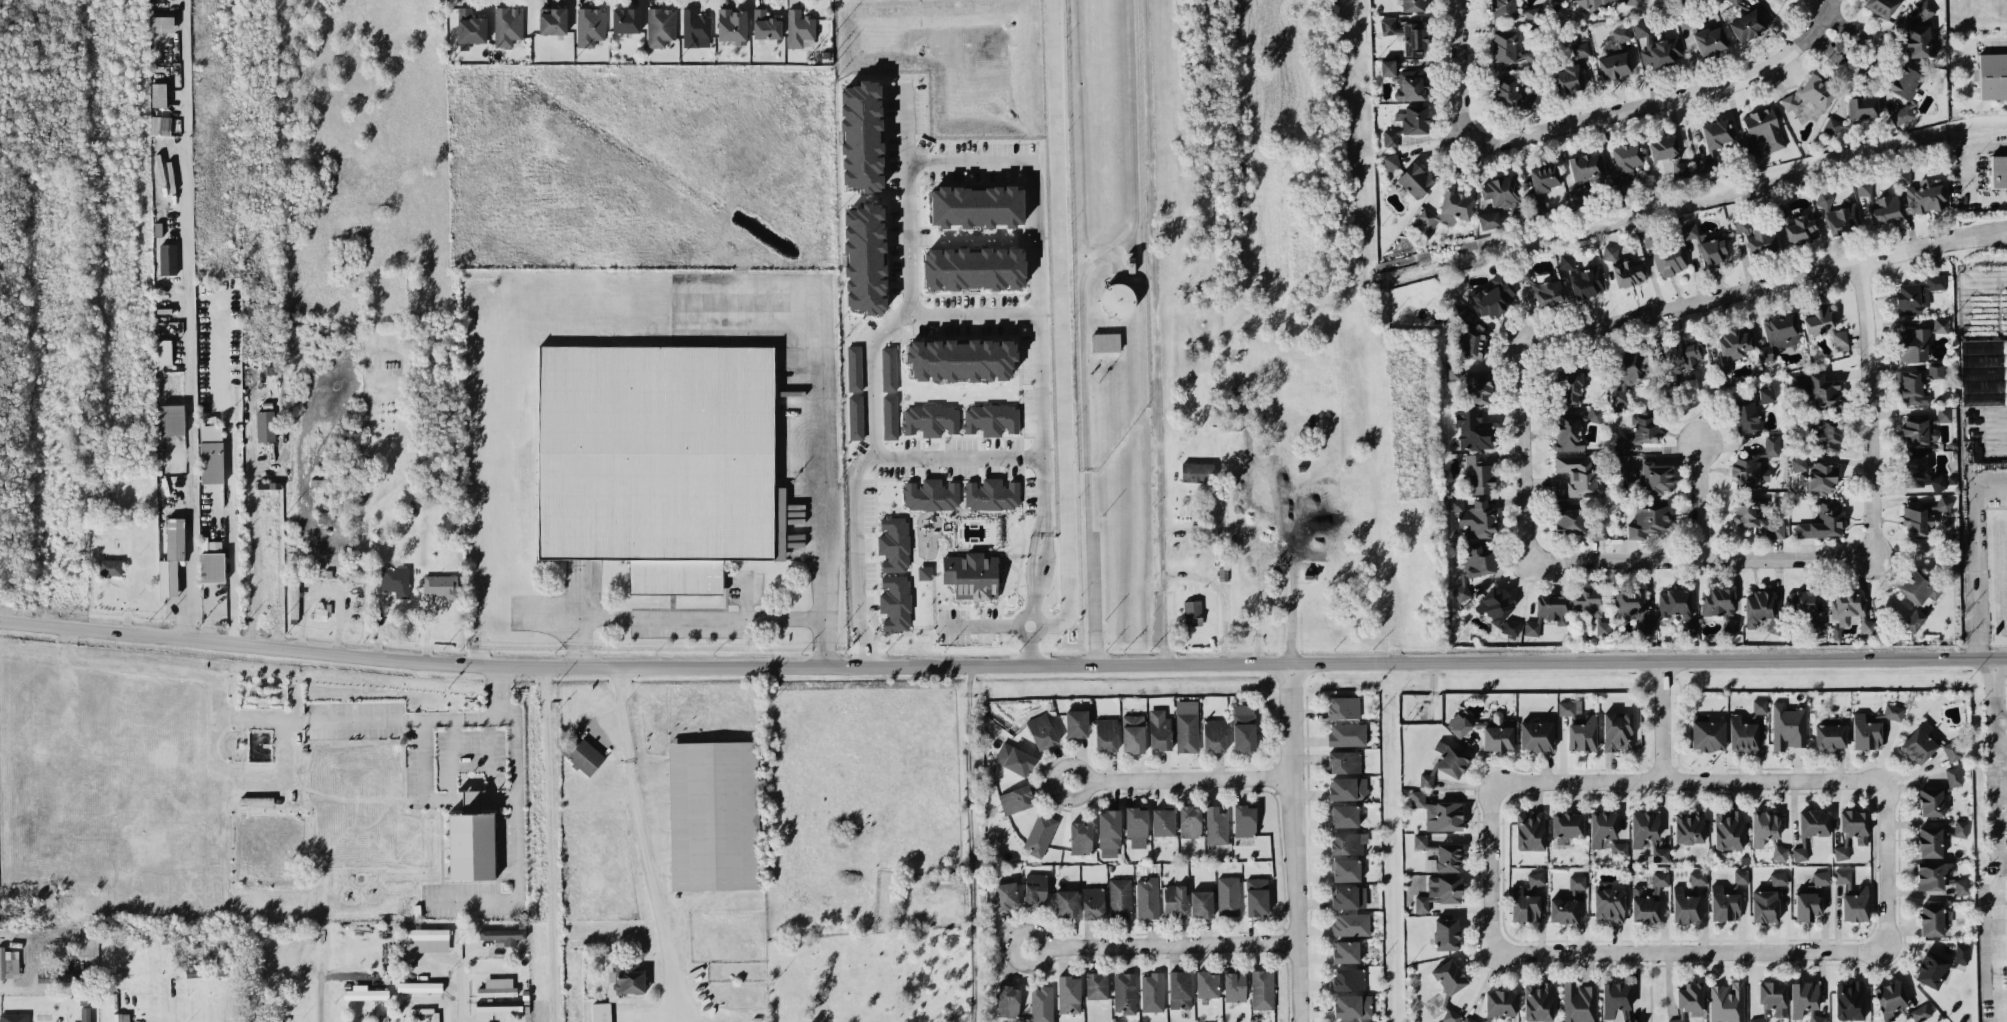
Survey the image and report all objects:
building: (1398, 0)
building: (1633, 2)
building: (1413, 5)
building: (1592, 5)
building: (1881, 6)
building: (1925, 8)
building: (1503, 9)
building: (1531, 13)
building: (626, 19)
building: (552, 20)
building: (1388, 24)
building: (162, 25)
building: (471, 25)
building: (507, 25)
building: (732, 25)
building: (765, 25)
building: (1747, 25)
building: (590, 26)
building: (660, 26)
building: (695, 28)
building: (799, 28)
building: (1642, 30)
building: (1620, 36)
building: (1414, 38)
building: (1919, 39)
building: (1710, 40)
building: (1504, 46)
building: (1580, 49)
building: (1663, 51)
building: (1529, 58)
road: (1868, 64)
building: (1614, 65)
building: (1387, 67)
building: (1991, 75)
building: (1568, 78)
building: (1411, 85)
road: (1718, 86)
building: (1506, 91)
building: (1904, 91)
building: (1812, 92)
building: (159, 93)
building: (1530, 100)
building: (1862, 106)
building: (1415, 119)
road: (1469, 119)
building: (160, 125)
building: (1832, 125)
building: (1763, 131)
building: (1717, 132)
building: (861, 135)
building: (1390, 137)
building: (1663, 147)
building: (1627, 156)
building: (1391, 161)
building: (1709, 162)
building: (1586, 168)
building: (1682, 168)
building: (1998, 170)
road: (1969, 174)
building: (1904, 177)
building: (1415, 180)
building: (1619, 182)
building: (1543, 184)
building: (1865, 187)
building: (1501, 193)
building: (1578, 194)
building: (1927, 195)
building: (1823, 199)
building: (977, 206)
building: (1887, 209)
building: (1445, 211)
building: (1843, 219)
building: (1489, 220)
building: (1740, 223)
building: (1801, 228)
building: (1650, 239)
building: (1761, 240)
building: (1708, 245)
road: (1036, 249)
building: (1610, 252)
building: (168, 258)
building: (865, 258)
building: (1670, 260)
building: (973, 268)
building: (1628, 272)
road: (903, 277)
building: (1582, 277)
road: (1744, 289)
building: (1917, 294)
building: (1491, 297)
building: (1117, 298)
road: (966, 310)
road: (188, 316)
road: (1082, 319)
building: (1819, 319)
building: (1940, 325)
road: (1058, 327)
building: (1779, 334)
building: (1840, 340)
building: (1105, 341)
building: (1470, 344)
building: (1914, 344)
building: (163, 351)
building: (1731, 351)
building: (961, 359)
building: (1680, 359)
building: (854, 368)
building: (889, 368)
building: (1936, 370)
building: (1983, 370)
building: (1628, 373)
building: (1477, 386)
building: (1570, 386)
building: (1798, 386)
building: (1913, 386)
building: (1824, 390)
building: (1766, 393)
building: (1237, 402)
road: (1869, 407)
building: (890, 416)
building: (856, 417)
building: (1745, 417)
building: (172, 418)
building: (930, 419)
building: (991, 419)
building: (265, 425)
building: (1645, 426)
building: (1923, 428)
building: (1473, 429)
road: (814, 431)
building: (1566, 431)
building: (1827, 434)
building: (1621, 444)
building: (1771, 444)
road: (927, 454)
building: (658, 460)
building: (212, 461)
building: (1798, 463)
building: (1746, 470)
building: (1197, 471)
building: (1916, 471)
building: (1479, 473)
building: (1577, 474)
building: (1648, 474)
road: (1529, 476)
road: (230, 479)
road: (269, 491)
building: (992, 493)
building: (931, 494)
road: (1694, 500)
building: (1944, 503)
building: (1757, 516)
building: (1650, 518)
building: (1478, 519)
building: (1919, 519)
building: (1823, 520)
building: (1576, 521)
building: (893, 544)
road: (1976, 552)
building: (172, 556)
road: (1703, 556)
building: (1478, 558)
building: (110, 567)
building: (212, 567)
building: (924, 572)
building: (972, 575)
building: (395, 580)
building: (440, 585)
building: (1919, 585)
road: (1163, 588)
building: (1461, 592)
building: (1717, 601)
building: (1803, 601)
building: (895, 602)
building: (1628, 602)
building: (1678, 607)
building: (1591, 608)
building: (1498, 609)
building: (1762, 610)
building: (1851, 610)
building: (1192, 612)
building: (1547, 612)
road: (1291, 613)
building: (320, 614)
road: (678, 616)
building: (1914, 620)
road: (983, 623)
building: (1645, 623)
building: (1731, 624)
building: (1816, 626)
road: (69, 632)
road: (1025, 642)
road: (67, 647)
road: (1002, 662)
building: (1343, 707)
building: (1893, 712)
road: (462, 715)
road: (2002, 715)
road: (252, 717)
road: (1664, 718)
building: (1076, 723)
building: (1458, 724)
building: (1186, 725)
building: (1243, 726)
building: (1579, 726)
building: (1788, 726)
building: (1746, 727)
building: (1132, 729)
building: (1159, 729)
building: (1041, 730)
building: (1617, 731)
building: (1866, 732)
building: (1105, 733)
building: (1214, 734)
building: (1347, 734)
building: (1708, 734)
building: (1537, 735)
building: (1830, 736)
road: (2002, 740)
building: (1918, 743)
building: (567, 744)
building: (1952, 751)
building: (585, 756)
road: (1997, 757)
building: (1014, 759)
building: (1344, 761)
building: (1445, 763)
road: (267, 770)
building: (1953, 776)
road: (1180, 779)
road: (1495, 781)
road: (1775, 781)
building: (1347, 788)
road: (480, 798)
building: (1015, 799)
building: (264, 800)
building: (1932, 801)
road: (515, 811)
building: (1439, 812)
building: (714, 815)
building: (1344, 815)
building: (1244, 820)
building: (1162, 821)
building: (1189, 821)
building: (1815, 822)
building: (1855, 824)
building: (1216, 825)
building: (1136, 826)
building: (1567, 826)
building: (1765, 826)
building: (1644, 827)
building: (1691, 827)
building: (1960, 828)
building: (1729, 829)
building: (1531, 830)
building: (1109, 832)
building: (1606, 832)
building: (1039, 834)
building: (1080, 838)
building: (2006, 839)
building: (471, 840)
road: (549, 840)
road: (643, 840)
building: (1420, 840)
road: (1292, 841)
building: (1348, 842)
building: (1931, 842)
building: (1841, 852)
building: (1780, 853)
building: (1799, 853)
building: (1660, 854)
building: (1448, 857)
road: (2003, 862)
building: (1430, 864)
road: (1885, 866)
building: (1345, 869)
building: (1932, 874)
building: (1843, 875)
building: (1741, 876)
building: (945, 877)
building: (1698, 877)
building: (1778, 877)
building: (1821, 877)
building: (1536, 878)
building: (1577, 881)
building: (1962, 886)
building: (1035, 888)
building: (1439, 891)
building: (1006, 895)
building: (1228, 895)
building: (1256, 896)
building: (1119, 897)
building: (1147, 897)
building: (1348, 897)
building: (1648, 898)
building: (1174, 899)
building: (1093, 902)
building: (1066, 903)
building: (1201, 903)
building: (1525, 903)
building: (1808, 903)
building: (1609, 904)
building: (1724, 904)
building: (1856, 904)
building: (1764, 905)
building: (1685, 906)
building: (1563, 910)
building: (1934, 920)
building: (1350, 924)
building: (1446, 933)
building: (503, 936)
building: (426, 940)
road: (2000, 942)
road: (1161, 946)
building: (1346, 951)
road: (1690, 951)
building: (1962, 953)
building: (1930, 969)
building: (206, 971)
building: (71, 976)
building: (1449, 976)
building: (629, 978)
building: (1348, 978)
building: (1207, 984)
building: (1096, 985)
building: (1234, 985)
road: (13, 986)
road: (1652, 986)
building: (497, 987)
building: (1179, 989)
building: (1262, 989)
building: (364, 992)
building: (1124, 992)
building: (1152, 992)
road: (458, 994)
building: (1068, 994)
building: (1773, 996)
building: (1691, 998)
building: (1803, 998)
building: (1890, 999)
road: (173, 1000)
building: (1008, 1000)
building: (1850, 1000)
building: (1539, 1001)
building: (1617, 1001)
building: (1579, 1002)
building: (1727, 1002)
road: (320, 1003)
building: (1501, 1003)
building: (1041, 1004)
building: (1352, 1005)
building: (496, 1006)
building: (601, 1012)
building: (1921, 1012)
building: (1451, 1015)
building: (13, 1017)
building: (121, 1017)
building: (1816, 1018)
building: (85, 1019)
building: (1469, 1019)
building: (1759, 1019)
building: (1677, 1020)
building: (1355, 1021)

